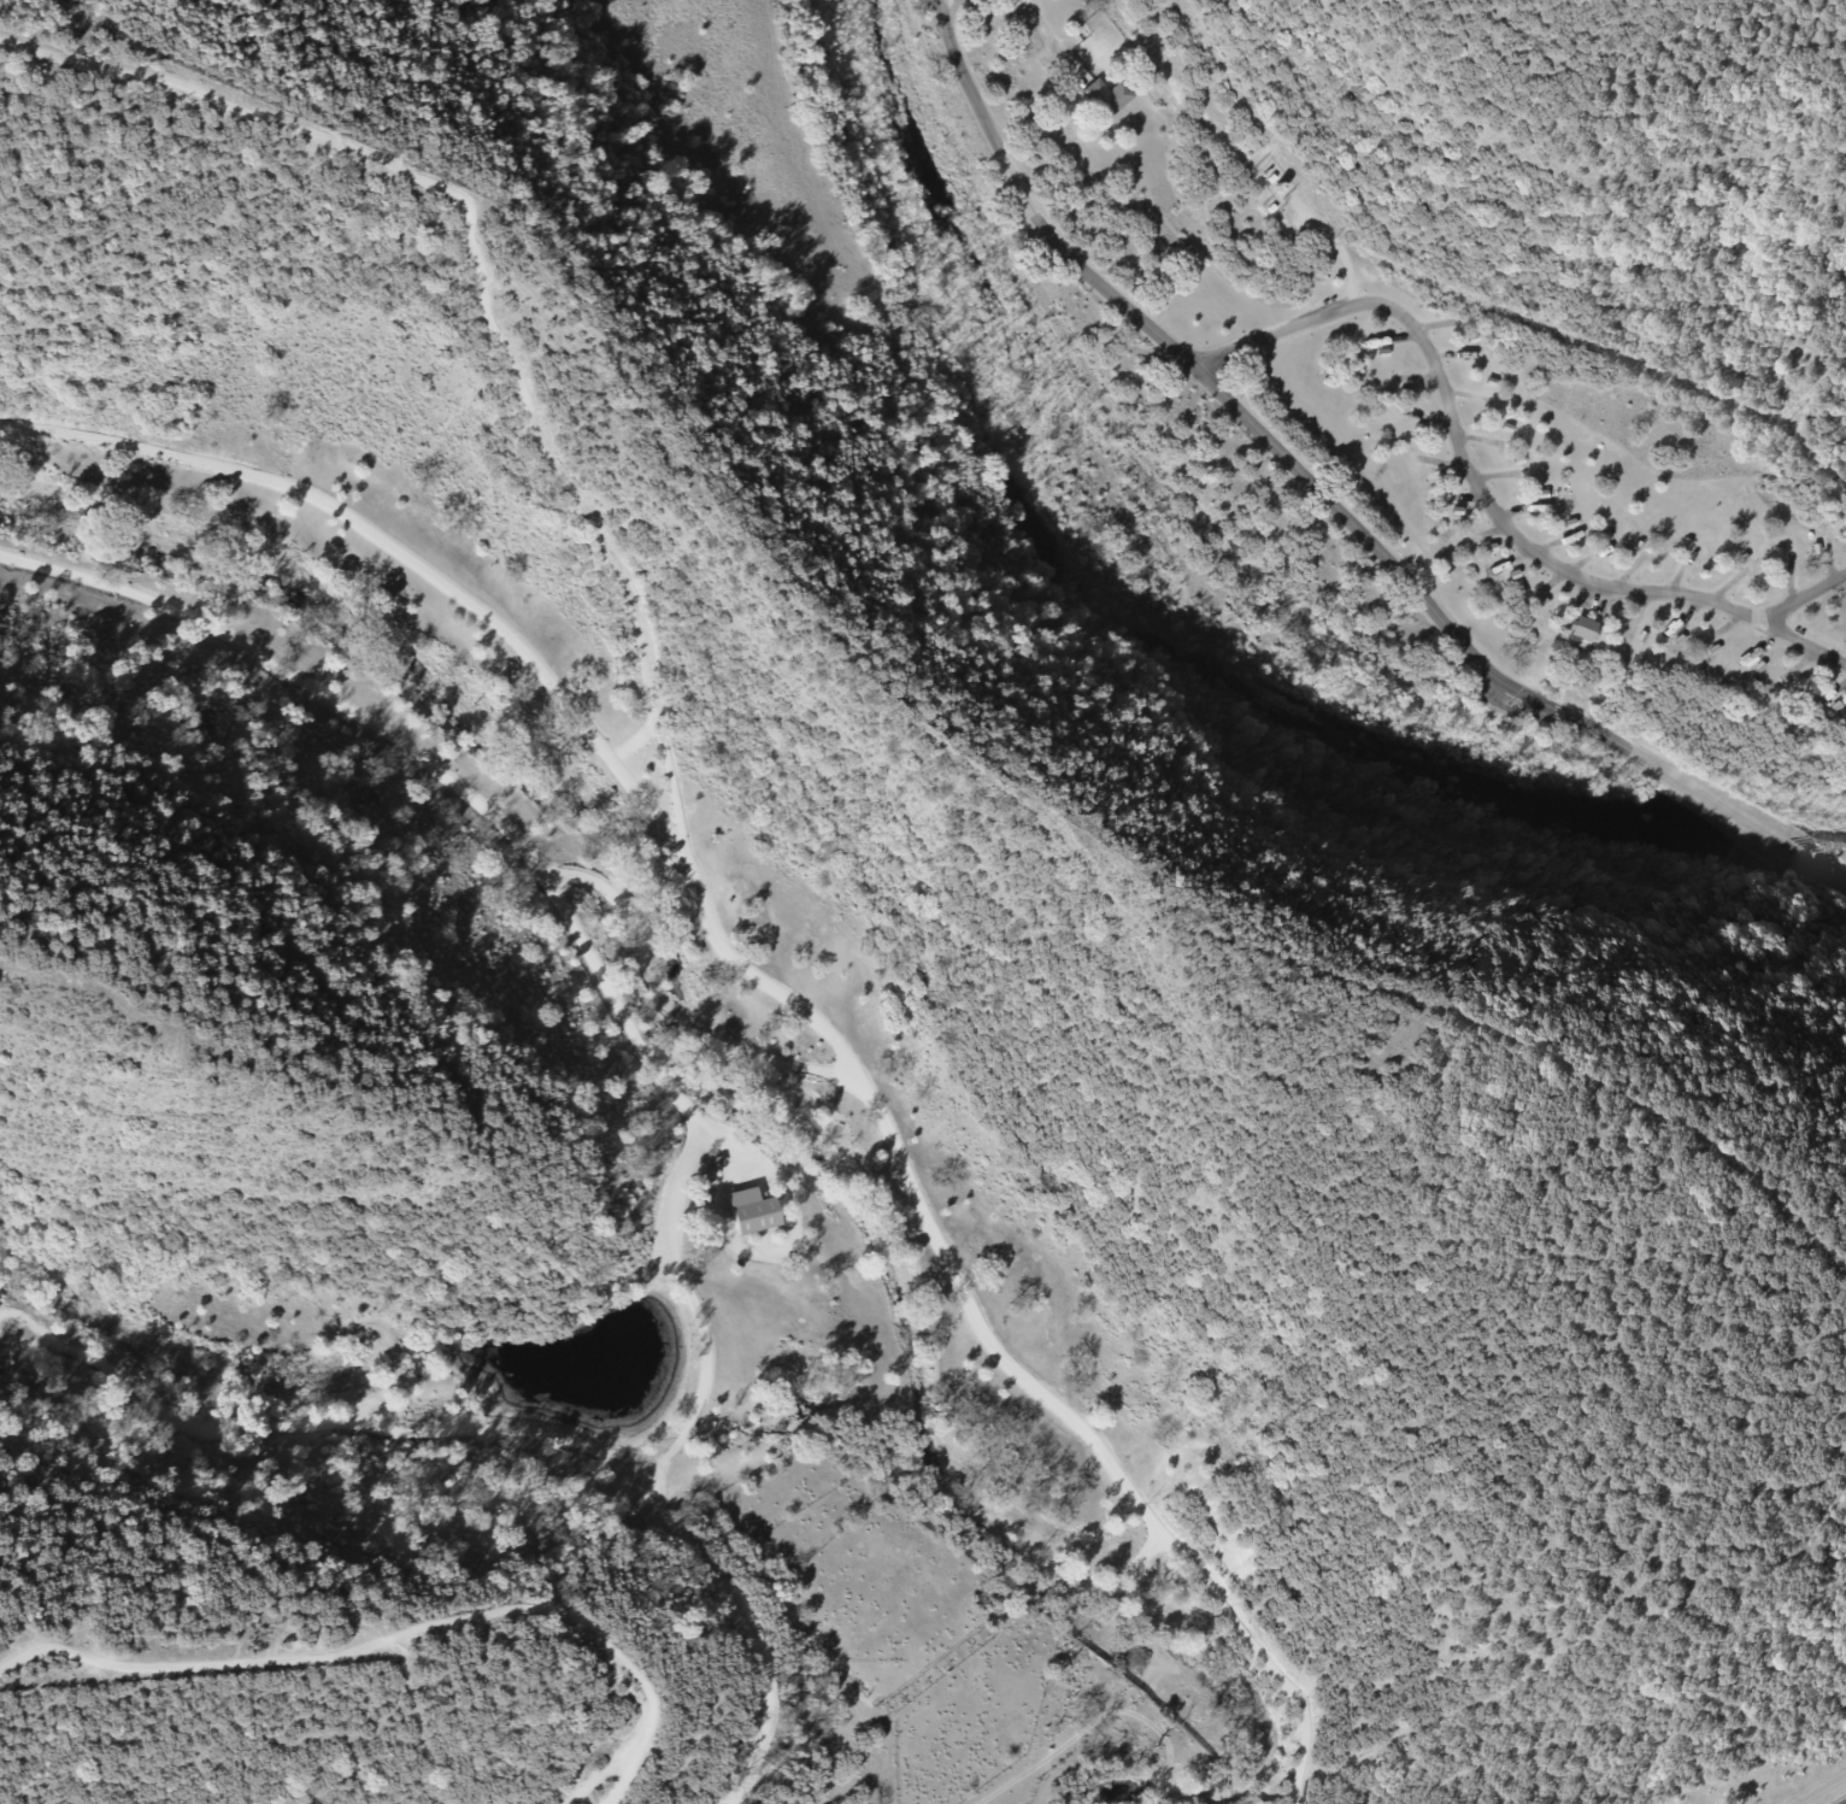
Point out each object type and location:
road: (1043, 31)
building: (1106, 94)
storage tank: (1276, 186)
road: (488, 293)
road: (1434, 324)
road: (1283, 329)
road: (1395, 339)
road: (1452, 354)
road: (1415, 375)
road: (1466, 396)
road: (1428, 418)
road: (1482, 441)
park: (1259, 449)
road: (1441, 462)
road: (1495, 476)
road: (1463, 496)
road: (1330, 501)
road: (1518, 511)
road: (1509, 528)
road: (1483, 531)
road: (1535, 552)
road: (1834, 560)
road: (1632, 570)
road: (1562, 571)
road: (1680, 575)
road: (1792, 580)
road: (1729, 586)
road: (1803, 599)
road: (1636, 611)
road: (1688, 613)
river: (1117, 618)
road: (1722, 625)
building: (1585, 628)
road: (1800, 640)
road: (1762, 645)
road: (517, 646)
road: (1799, 664)
road: (1836, 686)
road: (1515, 701)
river: (1835, 842)
river: (1787, 851)
road: (774, 1060)
building: (756, 1211)
road: (31, 1324)
road: (29, 1341)
road: (662, 1461)
road: (753, 1629)
road: (399, 1638)
road: (1125, 1694)
road: (740, 1799)

